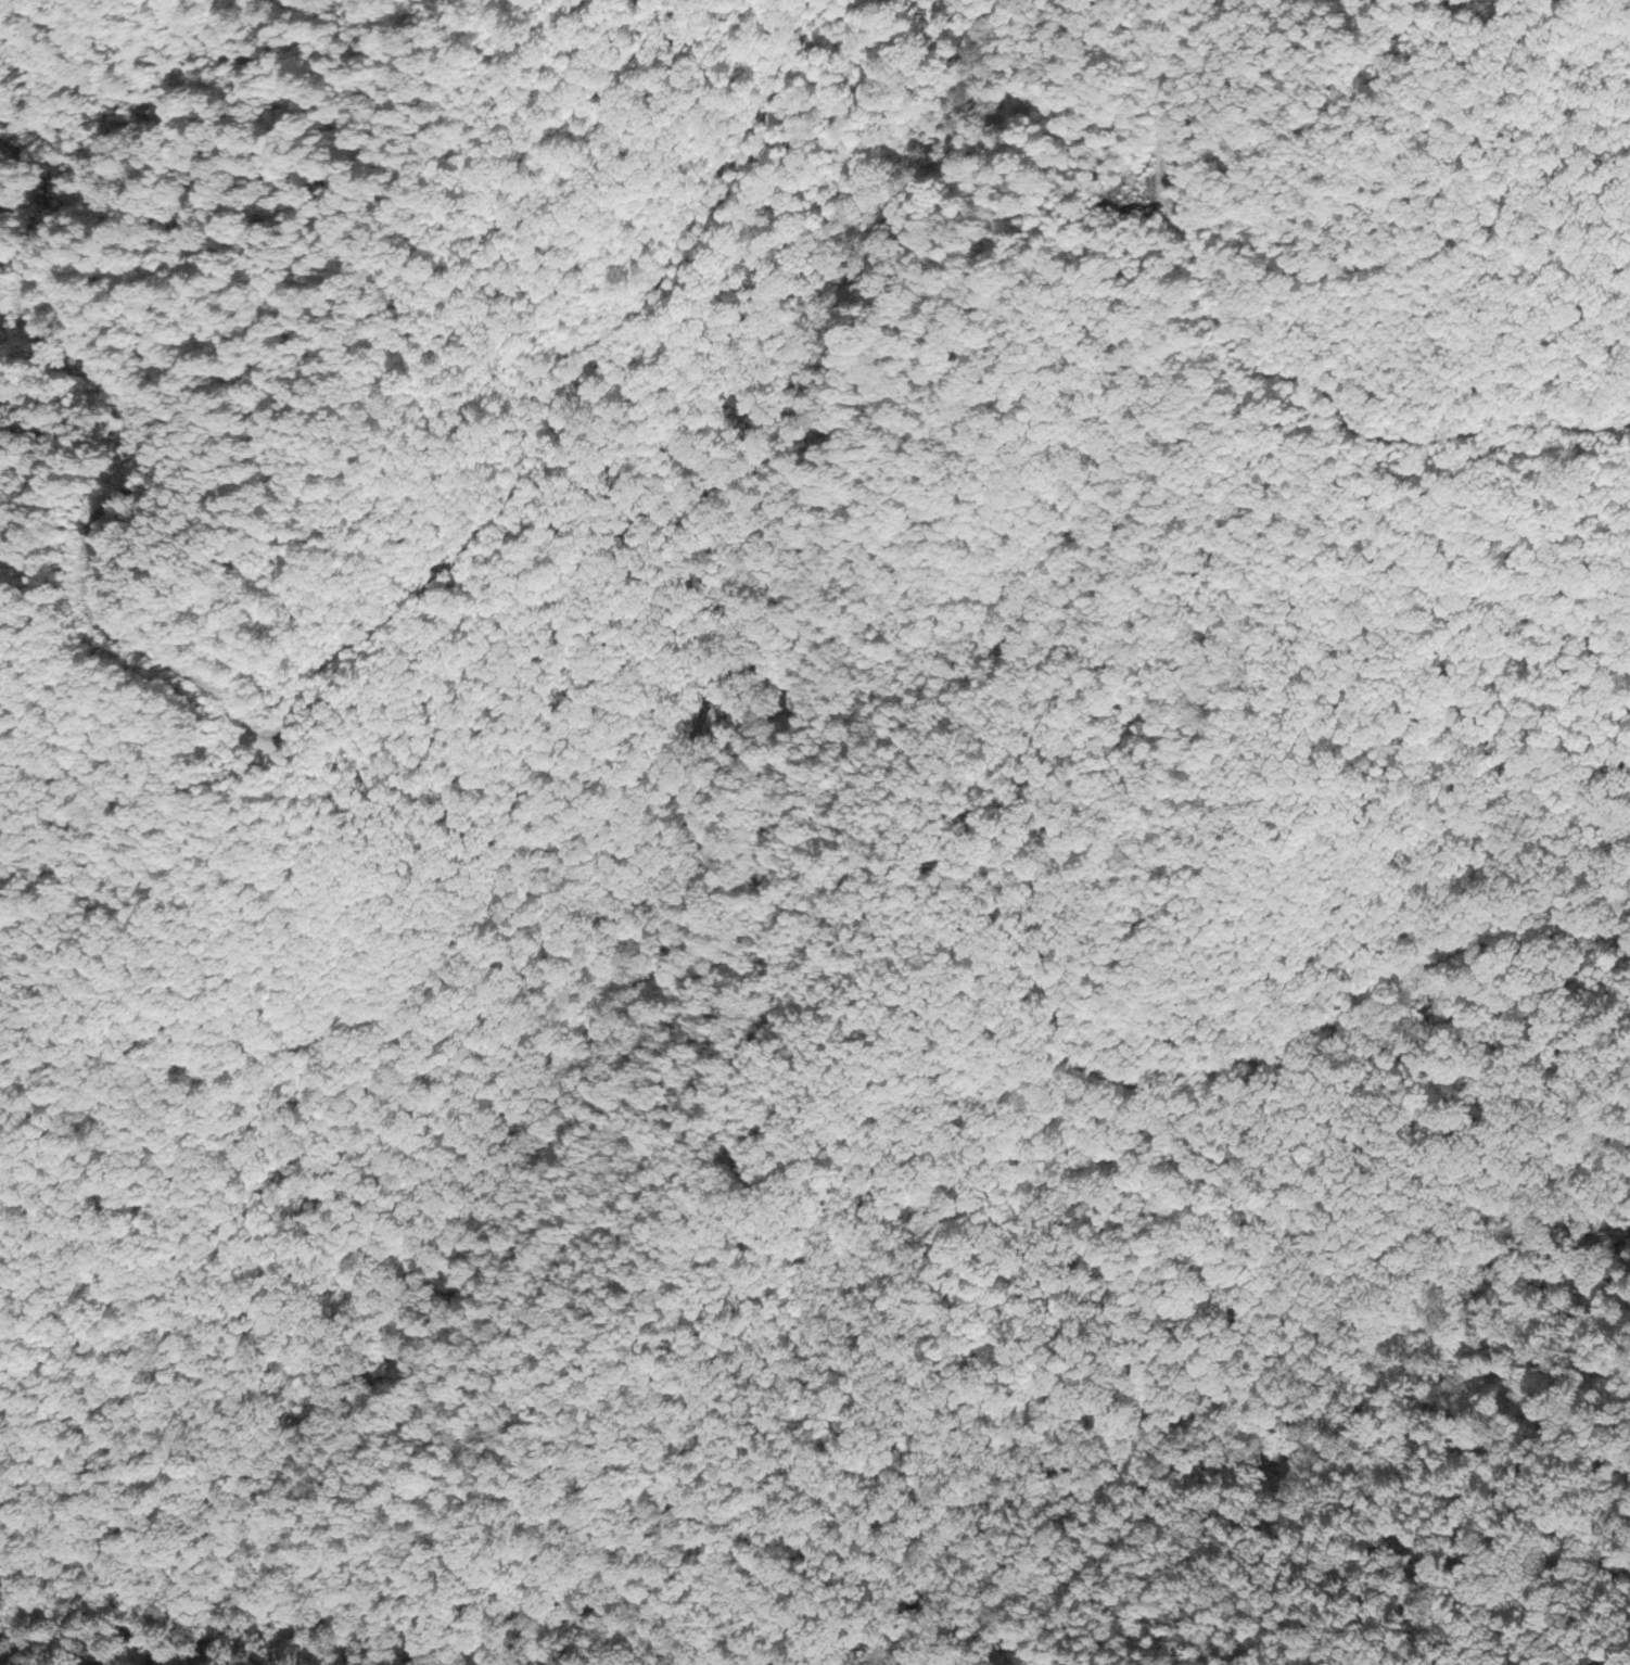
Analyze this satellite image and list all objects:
road: (968, 612)
road: (131, 869)
road: (748, 973)

